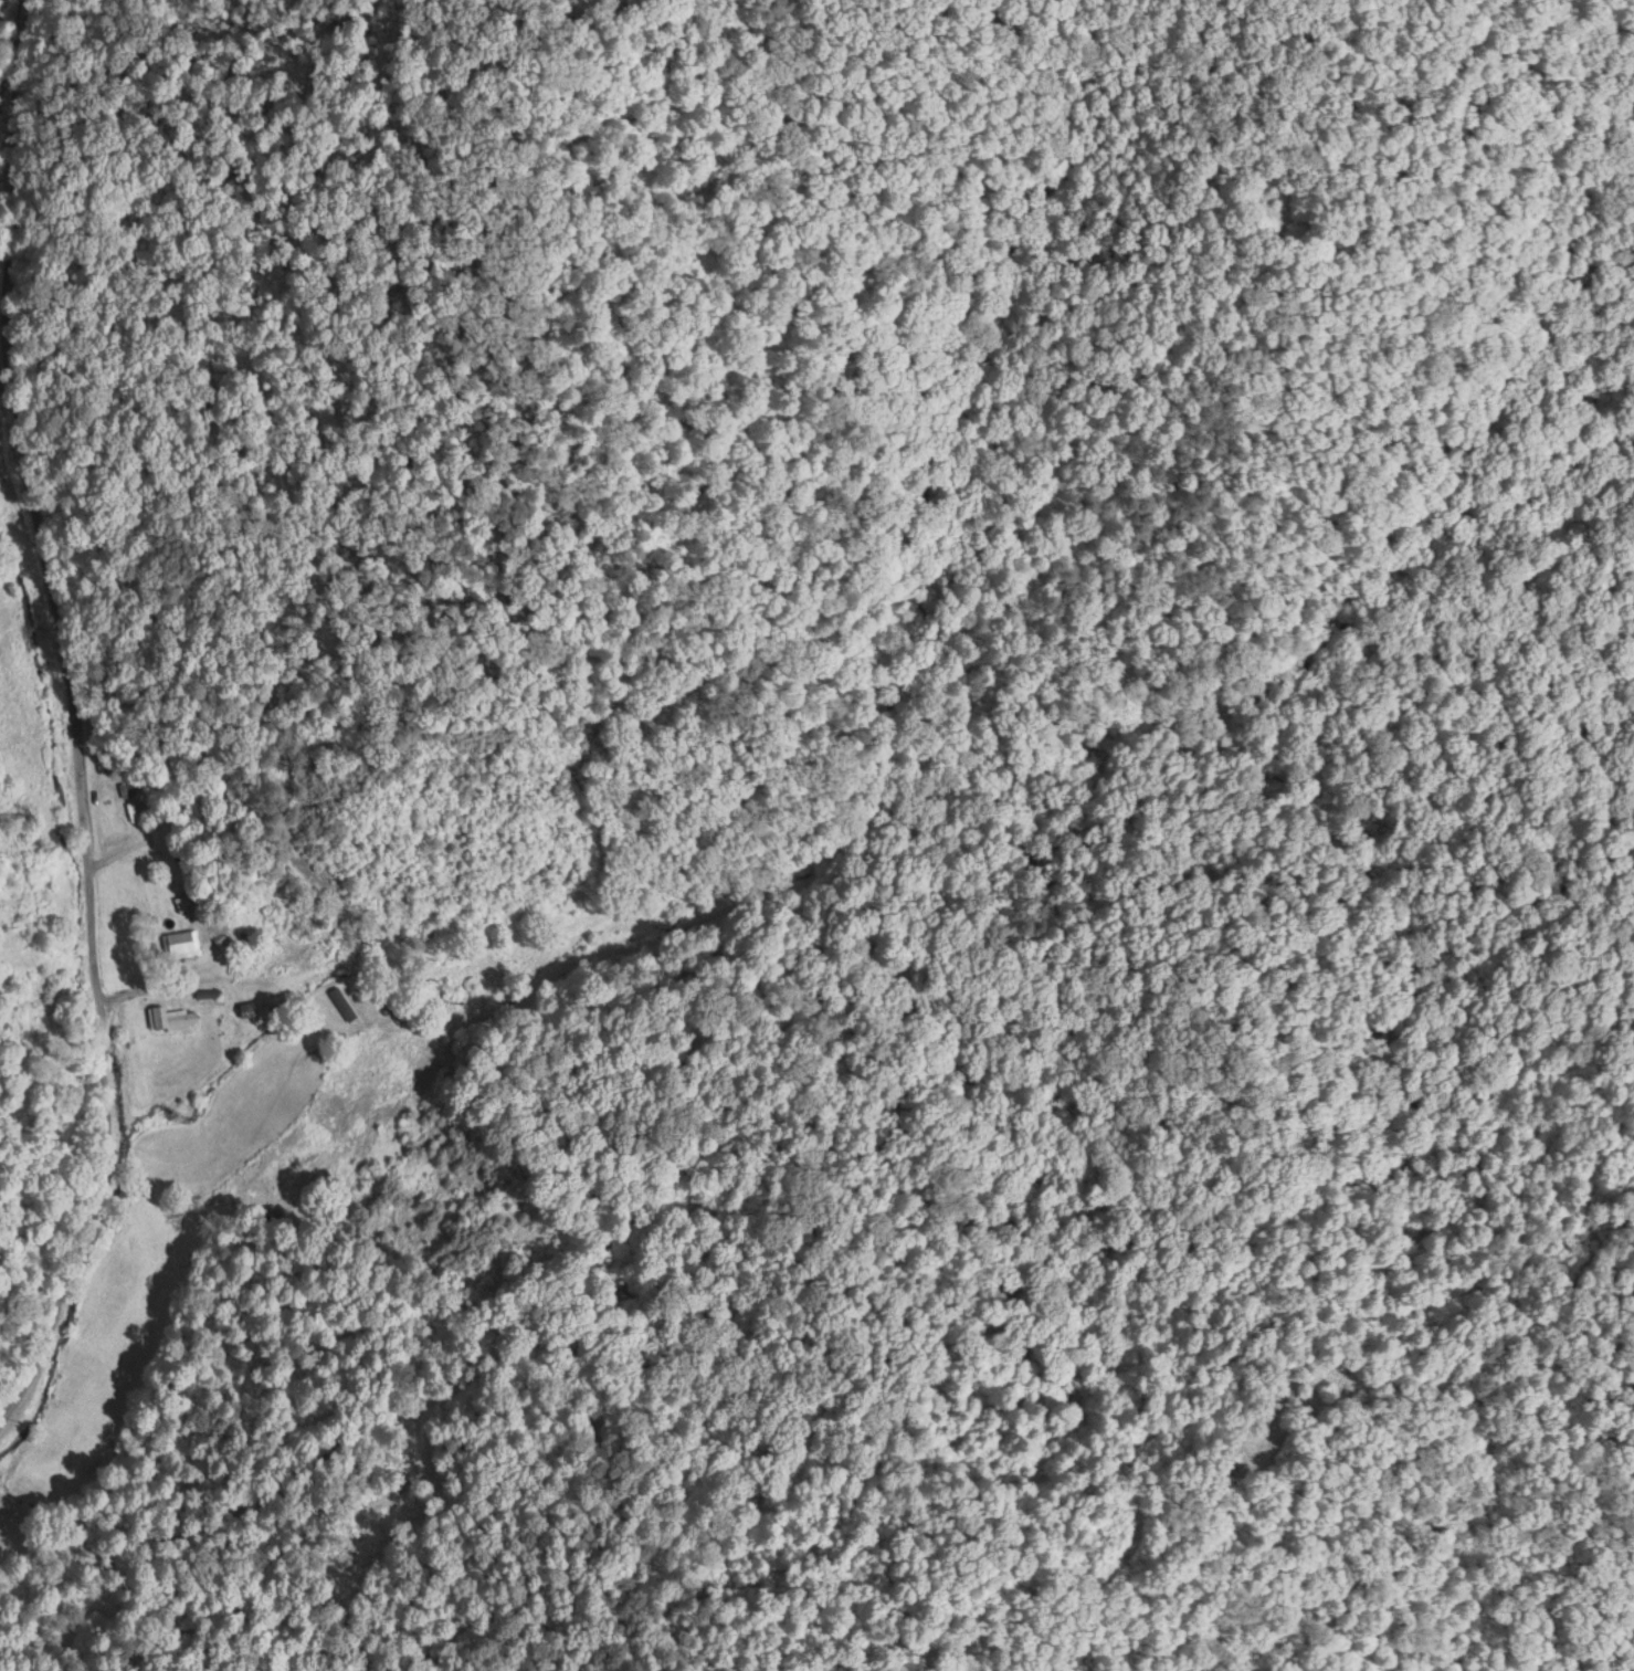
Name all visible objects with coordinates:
road: (95, 713)
building: (125, 785)
building: (131, 807)
building: (179, 940)
building: (341, 1000)
building: (247, 1007)
building: (170, 1015)

